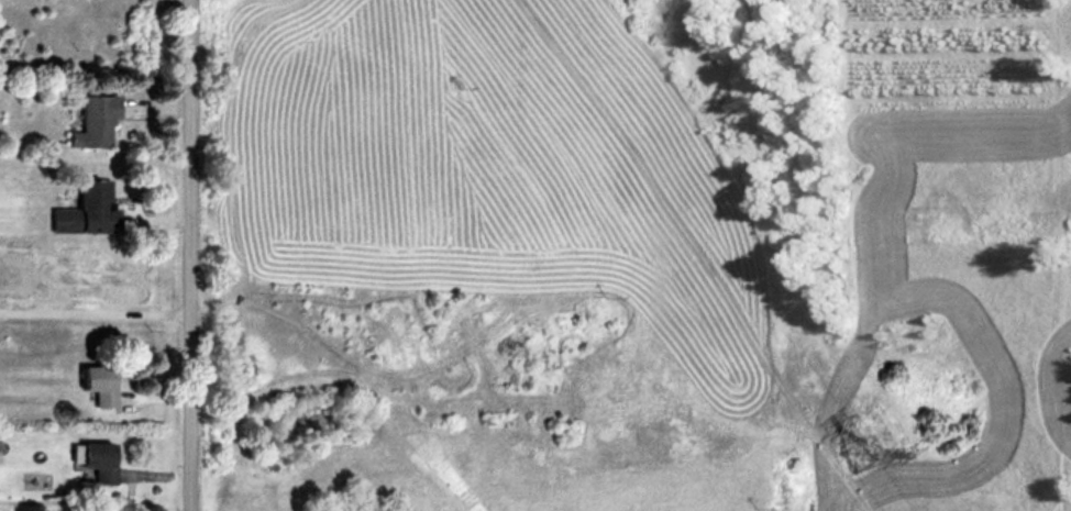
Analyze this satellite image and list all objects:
building: (85, 122)
road: (195, 255)
road: (97, 311)
building: (104, 385)
power tower: (850, 454)
building: (100, 460)

